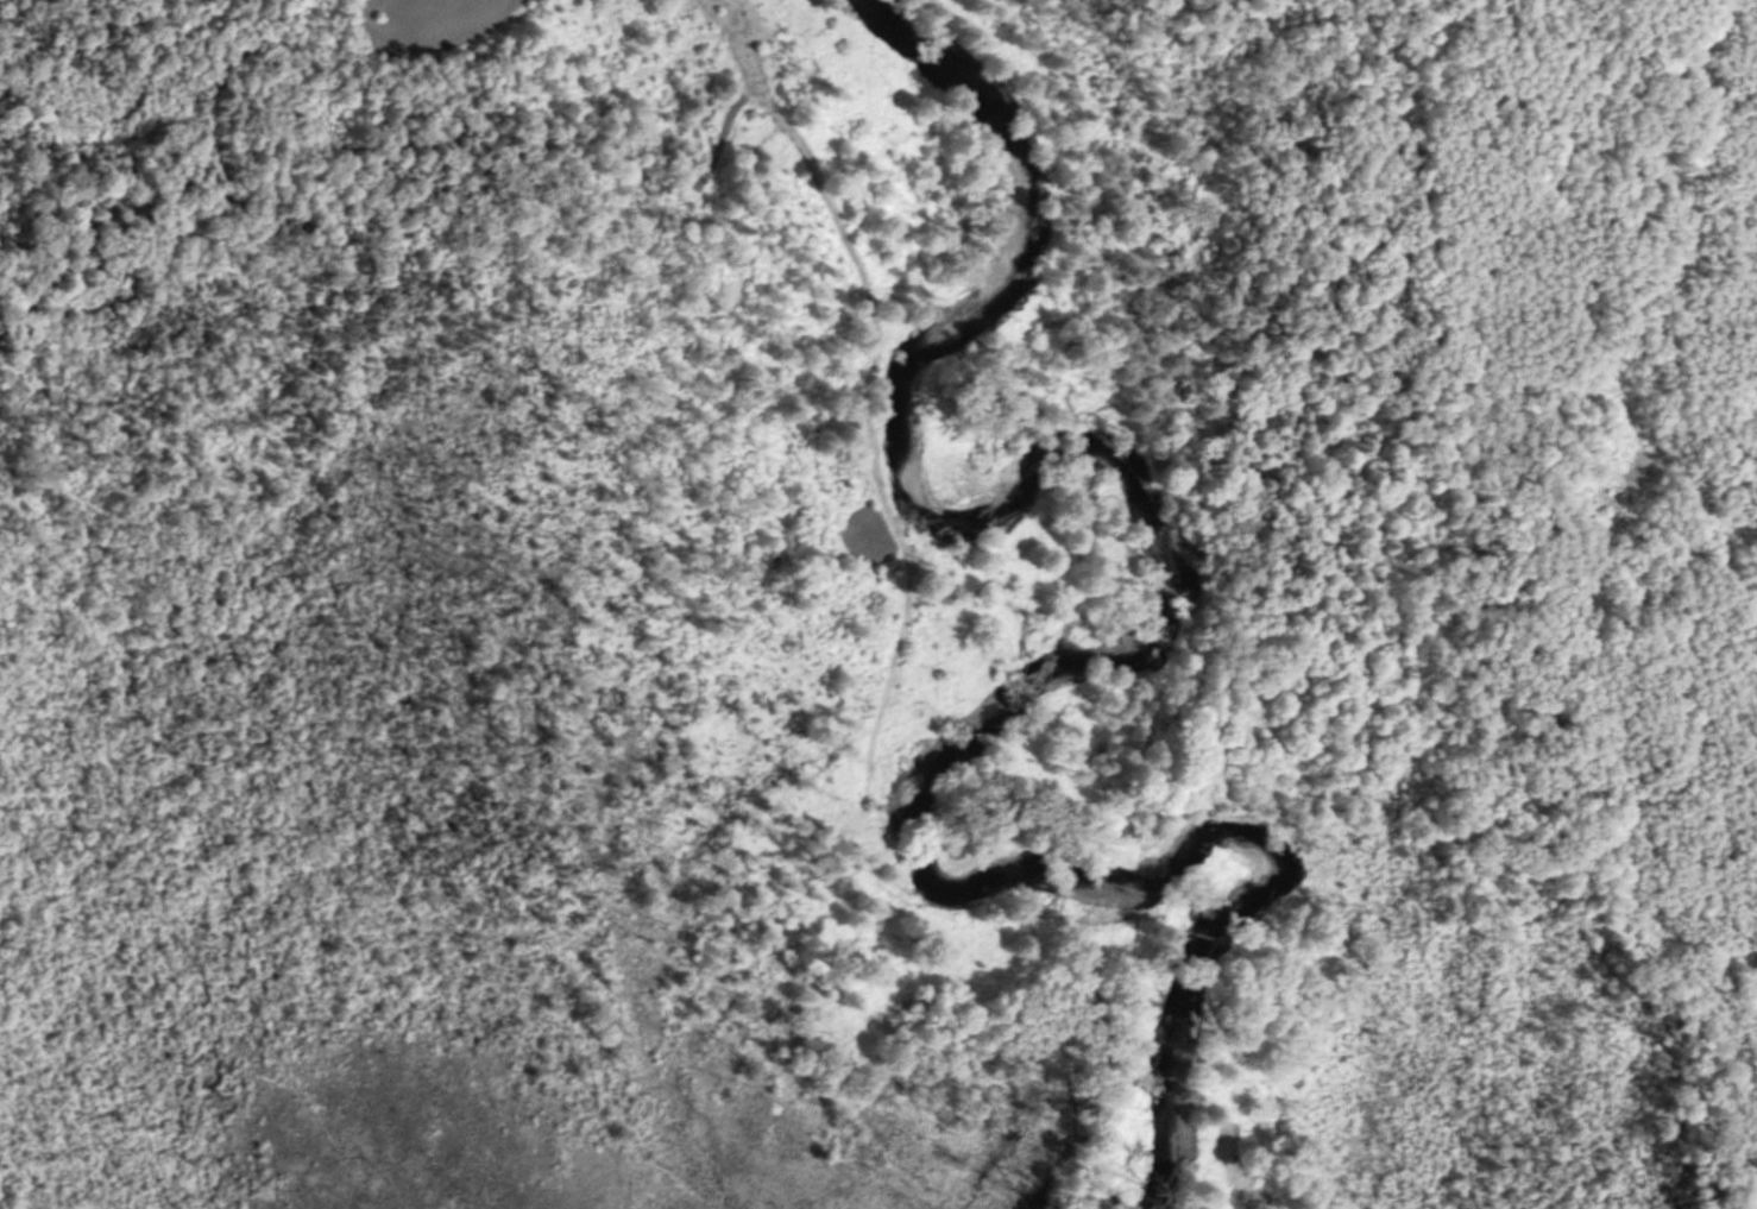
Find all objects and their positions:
river: (1085, 668)
building: (1260, 850)

